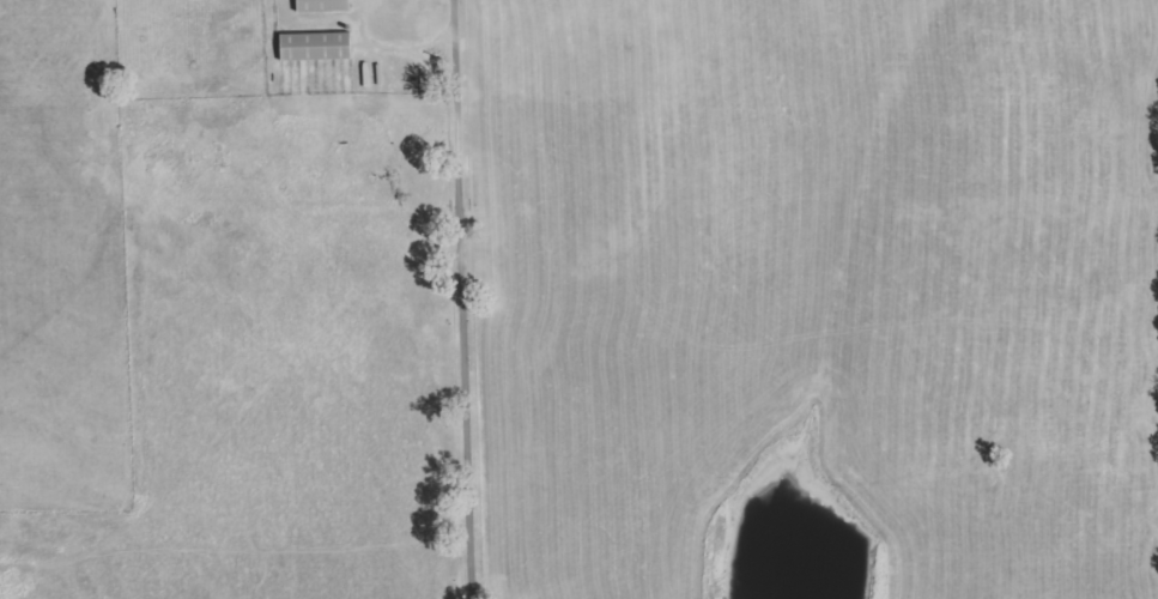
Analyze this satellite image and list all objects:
building: (327, 5)
building: (320, 46)
road: (468, 299)

